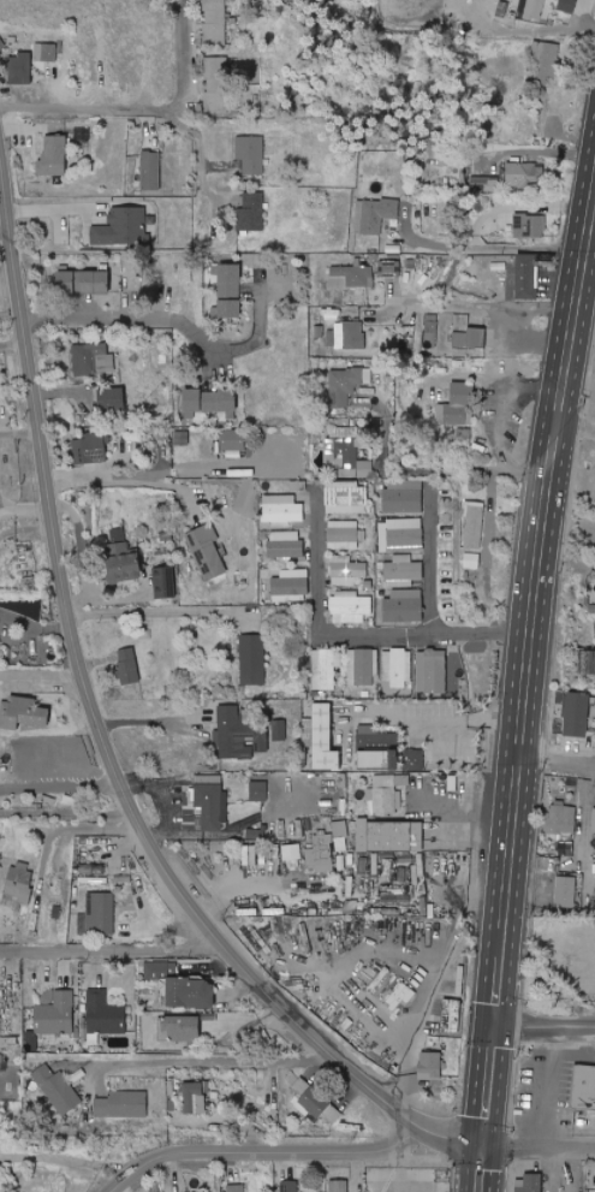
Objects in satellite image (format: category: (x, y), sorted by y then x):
building: (496, 2)
building: (567, 5)
building: (540, 8)
road: (583, 12)
building: (214, 19)
road: (589, 28)
road: (537, 32)
building: (46, 52)
building: (546, 61)
road: (182, 63)
building: (20, 69)
building: (218, 84)
road: (79, 107)
road: (200, 147)
building: (250, 154)
building: (54, 156)
building: (524, 173)
building: (154, 180)
building: (484, 183)
building: (250, 213)
building: (374, 214)
building: (529, 225)
building: (124, 227)
road: (490, 247)
building: (392, 268)
building: (352, 275)
building: (528, 277)
building: (96, 281)
building: (230, 290)
road: (482, 304)
road: (126, 316)
building: (430, 328)
building: (349, 334)
building: (471, 338)
building: (91, 358)
building: (352, 378)
building: (112, 399)
building: (210, 402)
building: (460, 404)
road: (575, 429)
building: (463, 435)
building: (233, 443)
building: (91, 447)
building: (344, 455)
road: (156, 470)
road: (432, 470)
road: (144, 482)
building: (298, 486)
building: (403, 496)
building: (346, 498)
building: (281, 508)
road: (25, 509)
building: (474, 524)
building: (344, 535)
building: (406, 538)
building: (285, 545)
building: (207, 551)
building: (123, 557)
road: (430, 557)
building: (471, 561)
building: (346, 570)
building: (403, 571)
building: (165, 582)
building: (291, 586)
building: (7, 599)
building: (350, 606)
building: (404, 606)
road: (530, 607)
road: (156, 610)
road: (36, 622)
road: (350, 634)
building: (252, 659)
building: (587, 662)
building: (129, 665)
building: (325, 668)
building: (363, 668)
building: (397, 668)
road: (42, 674)
building: (23, 713)
building: (577, 714)
road: (438, 718)
road: (153, 720)
road: (100, 730)
building: (279, 730)
building: (239, 735)
building: (325, 739)
road: (555, 776)
road: (60, 783)
building: (258, 791)
building: (387, 794)
building: (210, 801)
road: (465, 811)
building: (563, 818)
building: (594, 822)
road: (60, 829)
building: (255, 834)
building: (340, 836)
building: (389, 836)
building: (569, 847)
building: (291, 852)
building: (320, 853)
building: (251, 855)
building: (374, 865)
building: (418, 874)
building: (18, 884)
building: (351, 884)
building: (566, 891)
building: (423, 906)
building: (97, 915)
road: (108, 950)
building: (161, 969)
building: (191, 994)
building: (398, 996)
building: (105, 1014)
building: (55, 1015)
building: (451, 1015)
road: (395, 1027)
road: (524, 1028)
road: (575, 1028)
building: (182, 1030)
road: (212, 1060)
building: (7, 1062)
building: (430, 1066)
building: (584, 1086)
building: (56, 1090)
road: (488, 1090)
road: (548, 1090)
building: (194, 1098)
building: (314, 1102)
building: (123, 1104)
road: (288, 1150)
road: (512, 1151)
road: (569, 1152)
road: (67, 1157)
road: (480, 1172)
building: (531, 1182)
building: (338, 1185)
building: (291, 1186)
building: (234, 1187)

